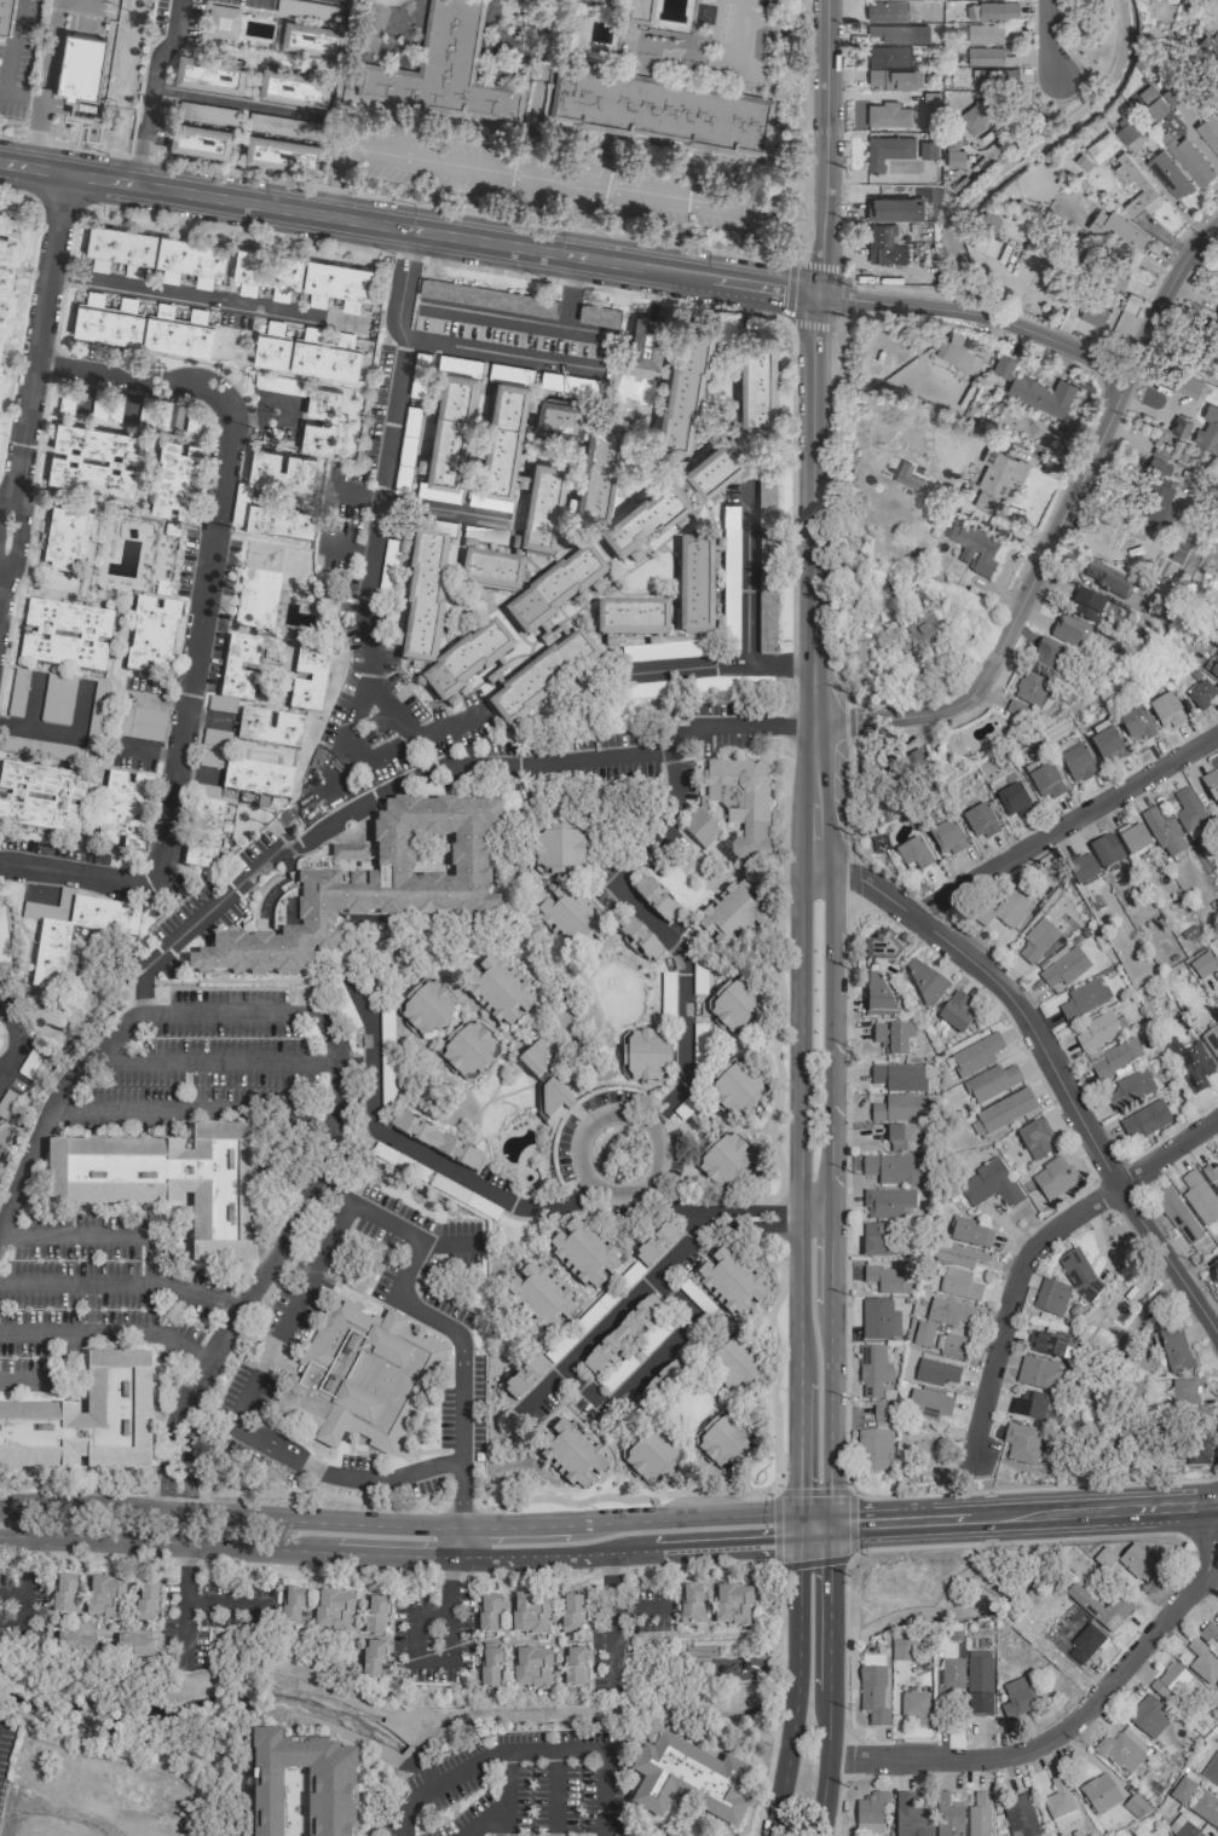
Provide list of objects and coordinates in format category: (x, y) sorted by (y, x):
road: (79, 1)
building: (306, 10)
building: (641, 11)
building: (887, 11)
building: (994, 11)
building: (6, 16)
building: (221, 21)
building: (897, 33)
building: (989, 33)
road: (1047, 37)
building: (310, 39)
road: (13, 50)
building: (889, 56)
building: (989, 56)
building: (446, 67)
building: (80, 73)
building: (209, 73)
building: (891, 79)
road: (42, 83)
building: (293, 86)
road: (538, 87)
road: (152, 90)
road: (235, 99)
building: (931, 100)
building: (1216, 108)
building: (662, 110)
building: (208, 112)
building: (888, 115)
building: (976, 115)
building: (1208, 132)
building: (200, 140)
road: (824, 146)
building: (1102, 148)
building: (888, 150)
building: (927, 150)
building: (283, 154)
road: (431, 160)
building: (1190, 160)
building: (1168, 174)
building: (1133, 184)
road: (16, 194)
road: (58, 201)
road: (703, 201)
road: (579, 219)
road: (527, 220)
road: (406, 229)
building: (1118, 230)
building: (985, 243)
building: (884, 246)
building: (119, 247)
building: (6, 259)
building: (189, 260)
road: (816, 266)
building: (266, 273)
building: (1116, 278)
building: (336, 284)
road: (789, 290)
road: (1165, 291)
road: (200, 295)
road: (837, 296)
building: (495, 298)
building: (1092, 305)
road: (976, 313)
building: (600, 314)
road: (19, 316)
road: (531, 319)
road: (810, 319)
building: (105, 322)
building: (177, 330)
building: (310, 334)
building: (345, 340)
building: (646, 341)
building: (271, 351)
building: (958, 353)
road: (500, 354)
building: (324, 359)
road: (30, 370)
building: (420, 374)
road: (128, 377)
building: (568, 383)
building: (756, 385)
building: (1188, 386)
building: (685, 388)
building: (1033, 389)
building: (71, 402)
building: (111, 406)
building: (158, 414)
building: (558, 416)
building: (319, 420)
building: (192, 422)
building: (1179, 426)
building: (450, 427)
building: (1208, 431)
building: (502, 438)
building: (408, 450)
building: (93, 458)
building: (715, 466)
building: (279, 468)
building: (599, 472)
building: (1001, 473)
building: (908, 477)
building: (177, 478)
building: (241, 502)
building: (1161, 507)
building: (542, 510)
road: (437, 512)
building: (643, 520)
building: (279, 522)
road: (375, 524)
building: (483, 537)
building: (67, 538)
building: (972, 547)
building: (260, 553)
building: (1176, 554)
building: (766, 565)
building: (389, 568)
building: (731, 571)
building: (491, 572)
road: (746, 576)
building: (425, 578)
road: (812, 579)
building: (1106, 579)
building: (694, 585)
building: (555, 589)
building: (256, 599)
building: (1086, 605)
road: (1016, 606)
building: (630, 619)
building: (1068, 630)
building: (916, 634)
building: (67, 635)
building: (151, 636)
road: (194, 641)
building: (665, 649)
building: (864, 651)
building: (1046, 654)
road: (718, 664)
building: (238, 668)
building: (1214, 672)
building: (541, 677)
building: (308, 680)
building: (729, 683)
building: (1032, 688)
building: (645, 691)
building: (22, 693)
building: (59, 698)
building: (1200, 698)
building: (220, 705)
building: (1015, 708)
building: (1166, 712)
building: (140, 723)
building: (1136, 727)
building: (269, 728)
building: (215, 738)
road: (405, 738)
building: (1104, 745)
building: (1075, 763)
building: (908, 767)
building: (256, 779)
building: (1044, 783)
building: (1211, 785)
building: (40, 797)
building: (1014, 803)
building: (740, 804)
building: (123, 810)
building: (1188, 813)
building: (979, 822)
road: (1063, 822)
building: (700, 828)
building: (202, 833)
building: (1164, 833)
building: (946, 839)
building: (1133, 839)
building: (558, 851)
building: (1106, 851)
building: (913, 855)
building: (1083, 870)
road: (71, 874)
building: (376, 884)
building: (654, 901)
building: (1009, 908)
building: (731, 916)
building: (570, 919)
road: (658, 928)
building: (639, 940)
road: (773, 942)
building: (1038, 942)
building: (881, 947)
building: (50, 962)
building: (1202, 965)
building: (1063, 966)
road: (139, 977)
building: (922, 981)
building: (498, 992)
building: (876, 994)
building: (666, 997)
building: (1083, 999)
building: (735, 1005)
building: (426, 1008)
building: (956, 1012)
building: (1097, 1032)
road: (16, 1037)
building: (890, 1039)
building: (1212, 1041)
building: (699, 1047)
building: (467, 1050)
building: (642, 1055)
building: (975, 1055)
building: (1114, 1058)
road: (214, 1063)
road: (1049, 1067)
building: (897, 1078)
building: (991, 1082)
building: (734, 1087)
building: (1127, 1090)
road: (51, 1107)
road: (191, 1109)
road: (622, 1109)
building: (899, 1109)
building: (1000, 1113)
road: (798, 1121)
building: (1144, 1121)
building: (902, 1138)
building: (1035, 1139)
building: (434, 1142)
road: (416, 1151)
building: (723, 1161)
building: (893, 1170)
building: (1212, 1176)
building: (1052, 1178)
building: (988, 1185)
building: (169, 1187)
road: (827, 1194)
building: (1199, 1197)
building: (887, 1203)
building: (1177, 1214)
road: (728, 1216)
road: (337, 1231)
building: (968, 1232)
road: (96, 1239)
building: (876, 1240)
building: (656, 1245)
road: (1032, 1245)
building: (582, 1253)
building: (954, 1255)
building: (1079, 1274)
building: (885, 1280)
road: (119, 1282)
building: (729, 1282)
building: (957, 1284)
building: (1050, 1297)
building: (538, 1298)
building: (949, 1312)
road: (612, 1316)
building: (878, 1320)
road: (108, 1330)
building: (620, 1334)
building: (922, 1334)
building: (1047, 1344)
building: (949, 1345)
building: (1174, 1351)
road: (647, 1361)
building: (733, 1362)
building: (872, 1370)
building: (935, 1372)
building: (1037, 1373)
building: (359, 1378)
building: (525, 1378)
building: (660, 1384)
road: (27, 1387)
building: (1183, 1392)
building: (928, 1403)
building: (1029, 1405)
building: (883, 1413)
building: (1201, 1419)
building: (85, 1421)
building: (722, 1438)
building: (1020, 1443)
road: (800, 1447)
building: (873, 1449)
building: (570, 1453)
building: (1190, 1453)
building: (651, 1454)
building: (928, 1454)
road: (1032, 1489)
road: (774, 1497)
traffic signals: (800, 1512)
road: (1022, 1515)
road: (813, 1519)
road: (399, 1524)
road: (800, 1526)
traffic signals: (827, 1526)
road: (813, 1534)
road: (1200, 1534)
road: (1014, 1540)
traffic signals: (800, 1541)
road: (704, 1547)
road: (304, 1548)
building: (1104, 1558)
road: (23, 1563)
road: (184, 1564)
building: (1138, 1564)
road: (610, 1569)
road: (524, 1574)
road: (448, 1586)
road: (11, 1592)
building: (67, 1594)
building: (104, 1598)
building: (145, 1600)
road: (224, 1604)
building: (714, 1604)
building: (1118, 1607)
building: (291, 1609)
building: (374, 1613)
building: (486, 1613)
building: (529, 1613)
building: (570, 1613)
road: (641, 1613)
building: (502, 1615)
road: (21, 1618)
road: (183, 1624)
building: (1212, 1632)
road: (612, 1634)
building: (76, 1644)
building: (1084, 1644)
building: (133, 1645)
building: (901, 1650)
road: (844, 1656)
building: (371, 1658)
road: (448, 1659)
building: (1201, 1662)
building: (573, 1665)
building: (489, 1668)
building: (531, 1668)
building: (948, 1680)
road: (827, 1681)
building: (1168, 1681)
building: (979, 1682)
road: (792, 1688)
building: (873, 1693)
building: (1018, 1697)
building: (916, 1708)
building: (1147, 1716)
road: (1070, 1717)
road: (530, 1748)
building: (1122, 1750)
building: (1211, 1769)
building: (688, 1779)
building: (1182, 1789)
road: (503, 1791)
road: (553, 1791)
building: (1099, 1794)
building: (1058, 1803)
building: (1206, 1807)
building: (870, 1812)
building: (979, 1814)
building: (947, 1815)
building: (911, 1817)
building: (1020, 1817)
road: (479, 1819)
building: (1182, 1825)
road: (403, 1830)
building: (1158, 1832)

